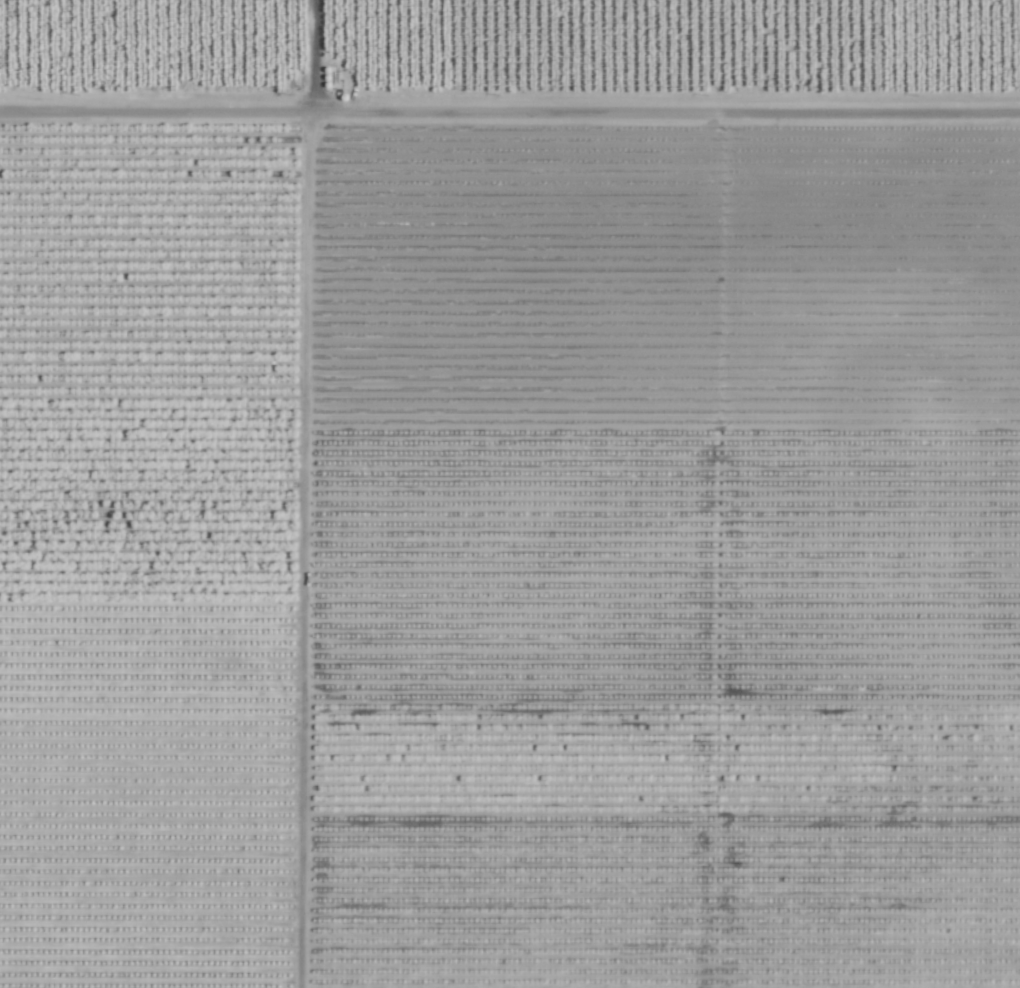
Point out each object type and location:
road: (510, 114)
crop: (510, 494)

